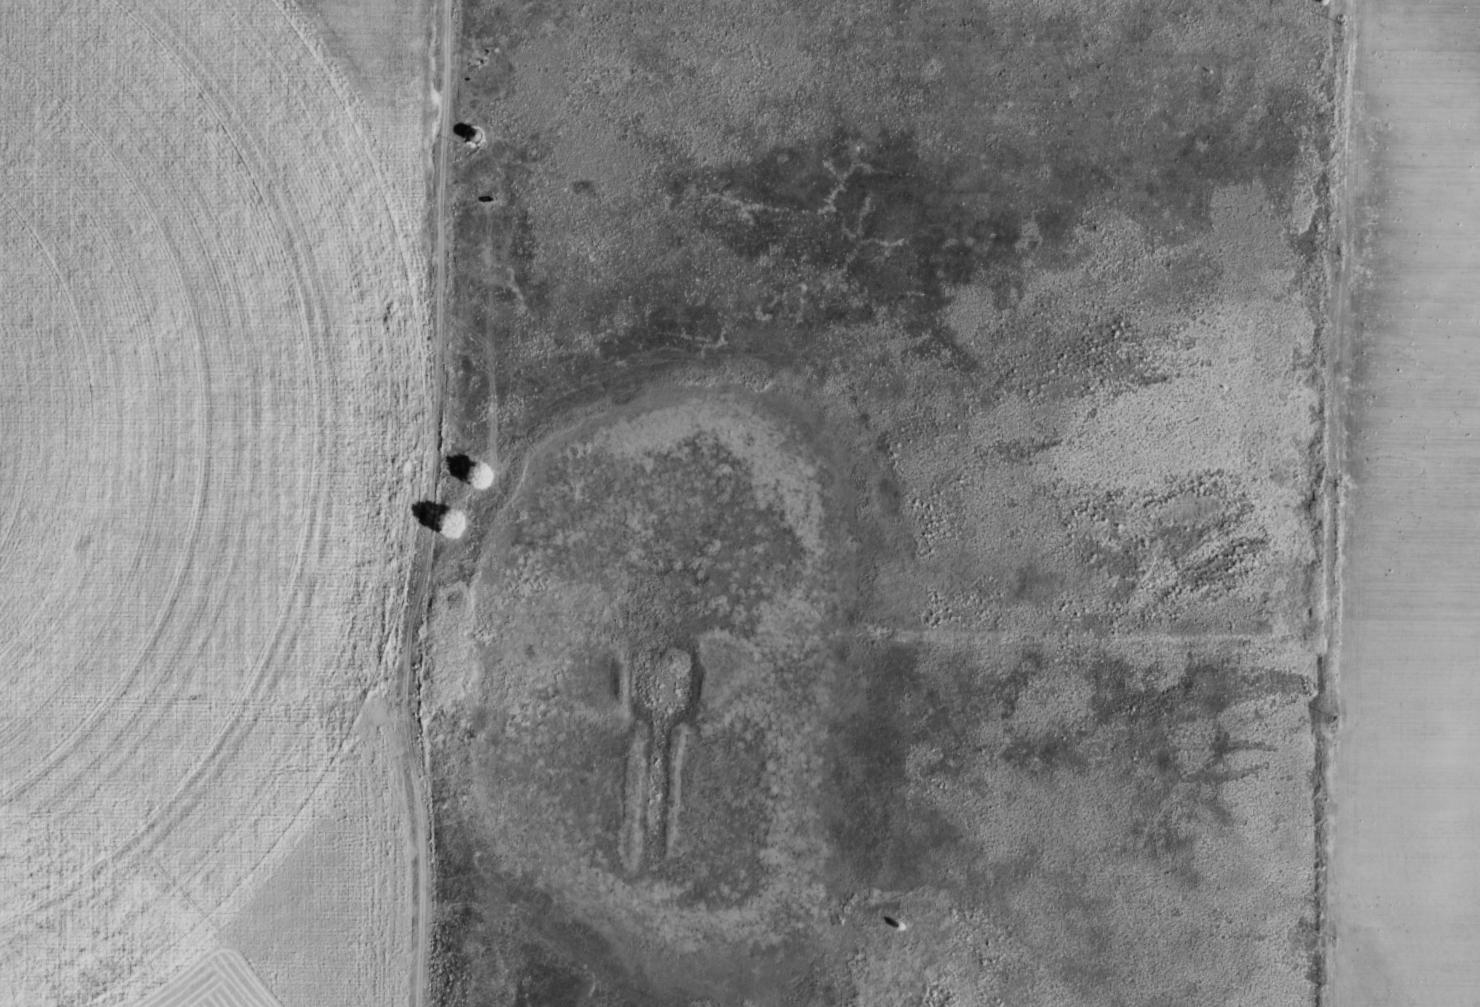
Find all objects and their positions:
road: (1338, 503)

